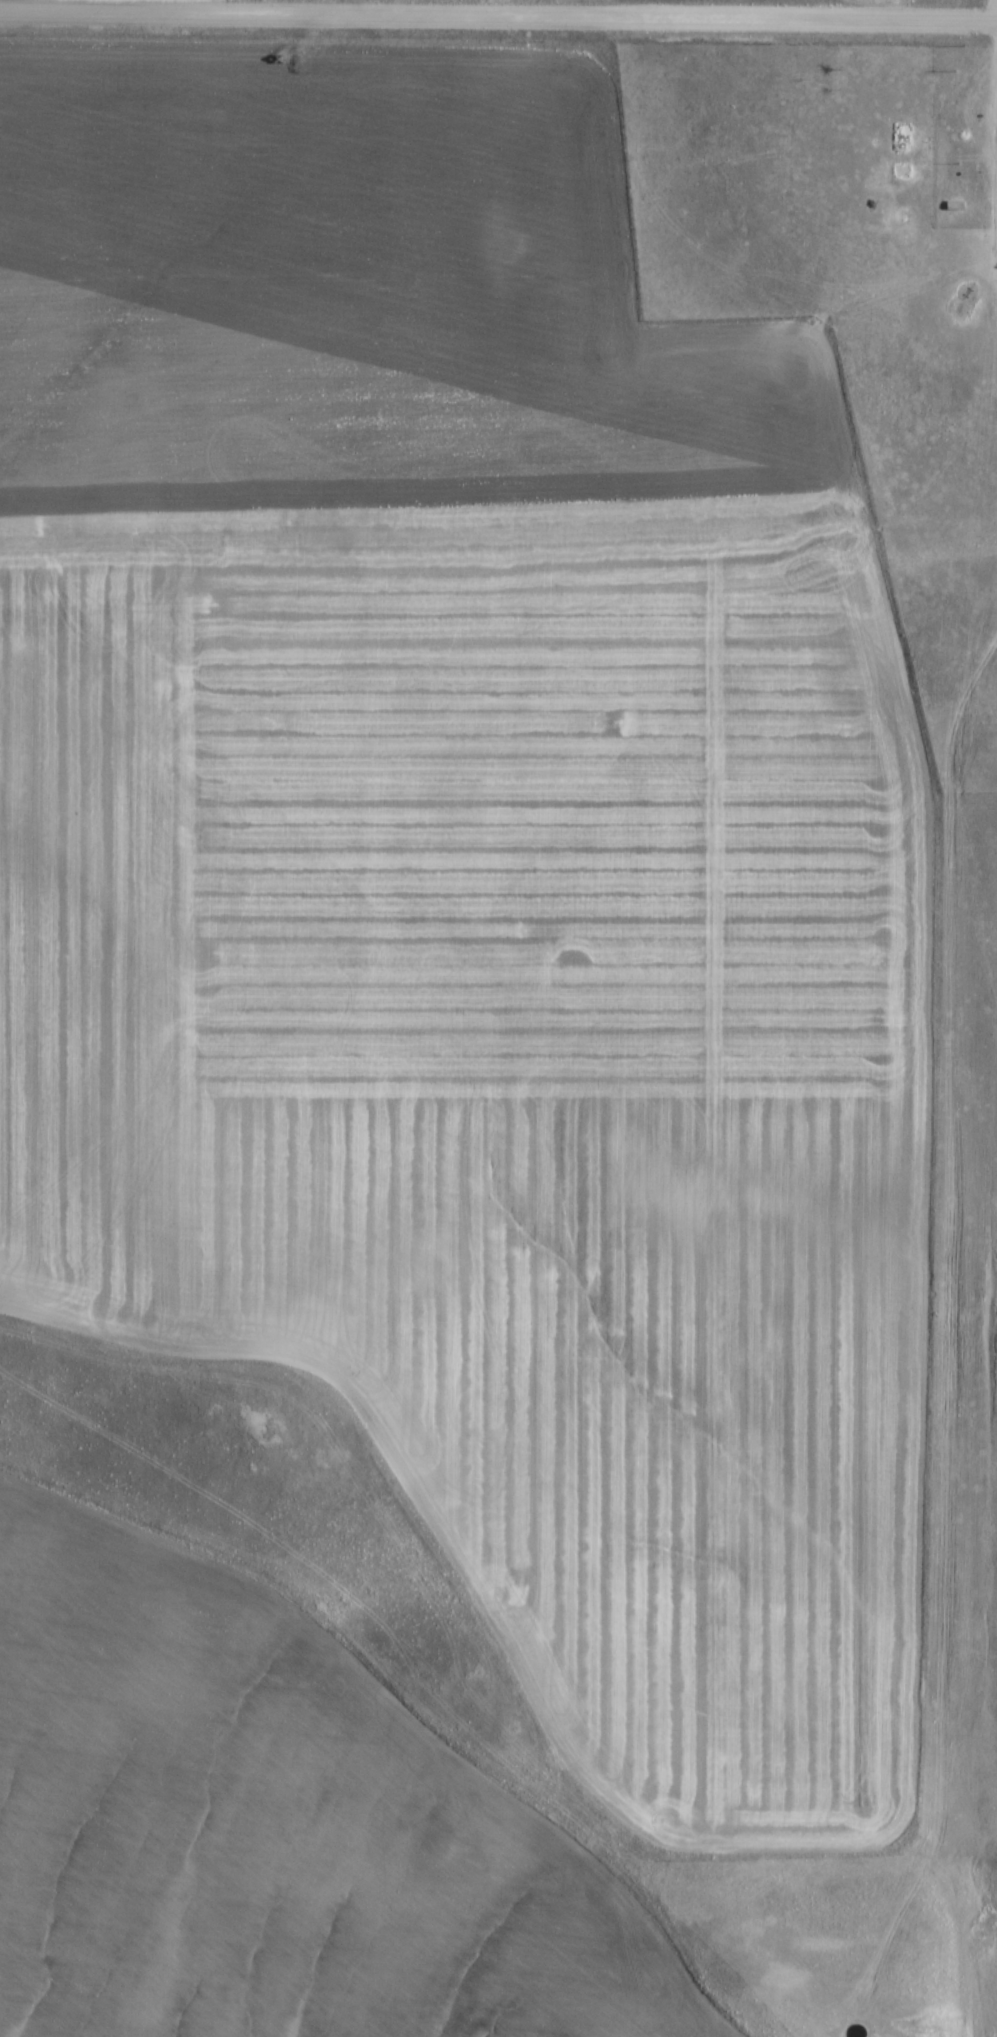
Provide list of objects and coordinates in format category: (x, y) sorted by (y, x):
road: (498, 14)
building: (900, 132)
building: (901, 169)
building: (955, 202)

